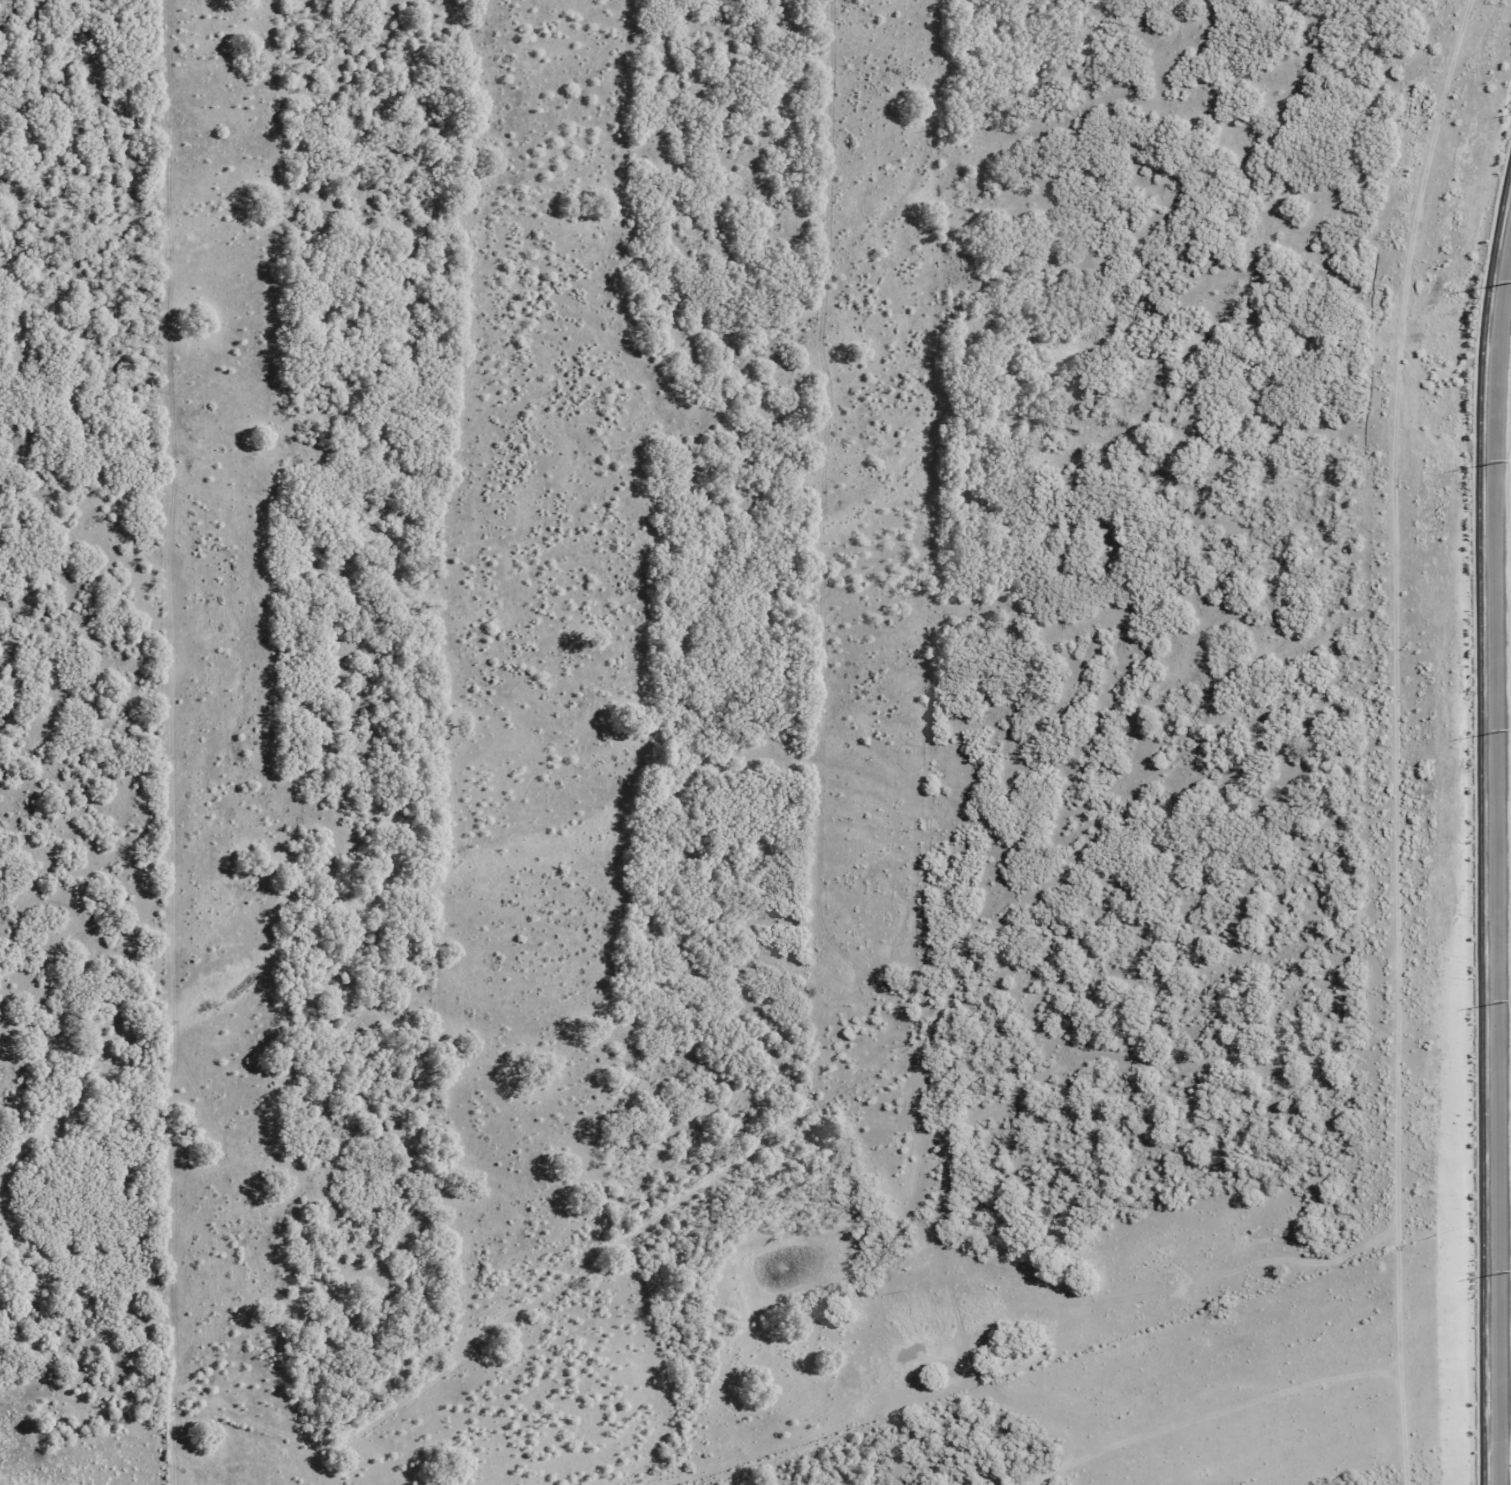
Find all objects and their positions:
power tower: (1510, 461)
power tower: (1510, 728)
railway: (1484, 831)
road: (1500, 865)

